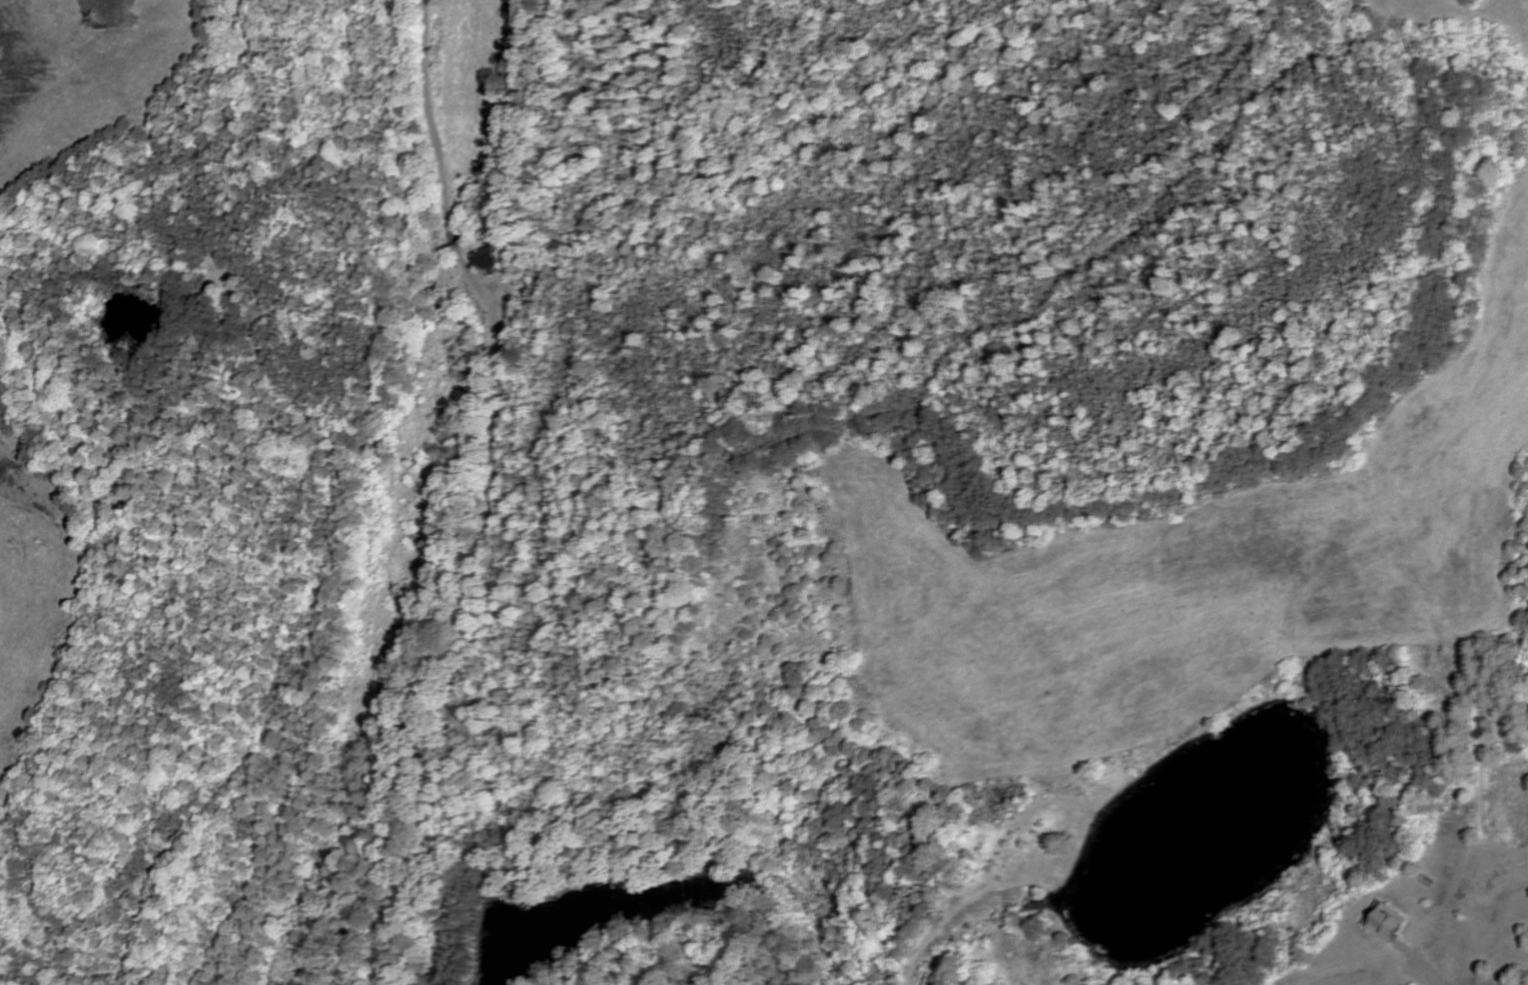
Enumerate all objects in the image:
road: (490, 315)
road: (464, 494)
building: (1387, 923)
road: (1425, 963)

